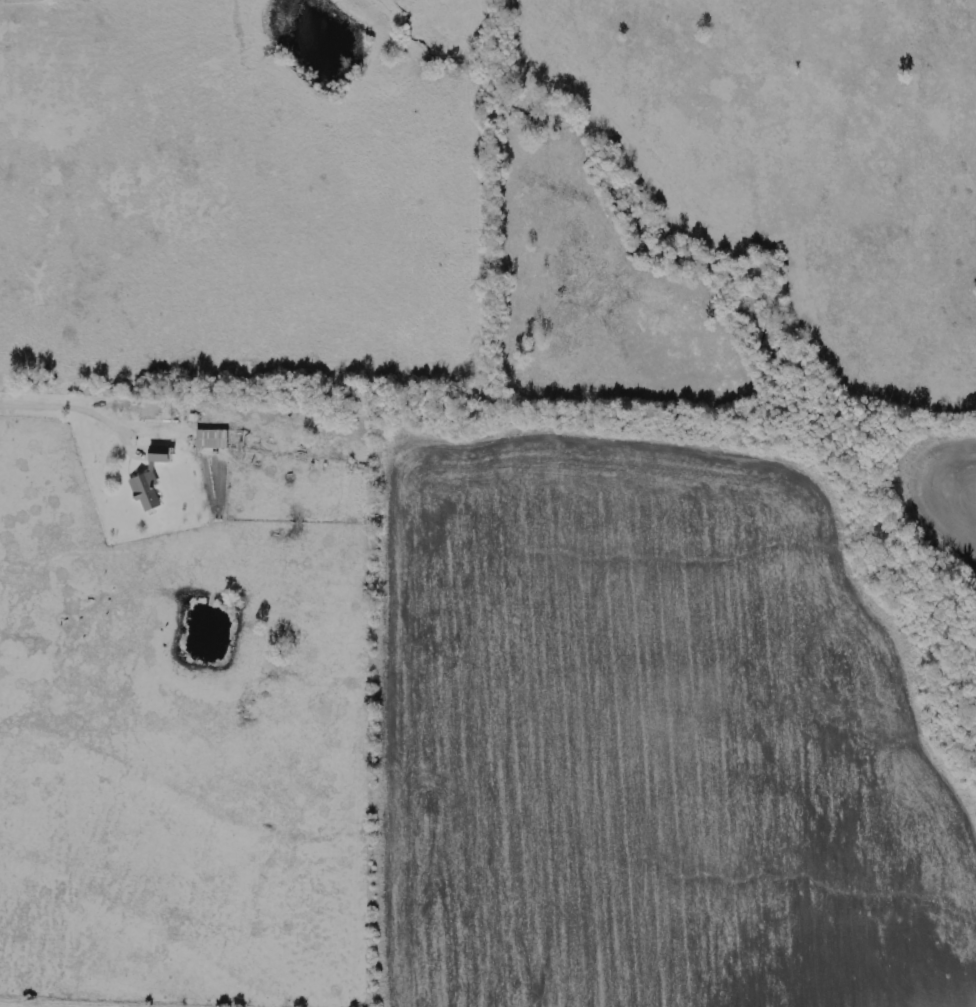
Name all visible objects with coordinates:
building: (214, 440)
building: (152, 479)

